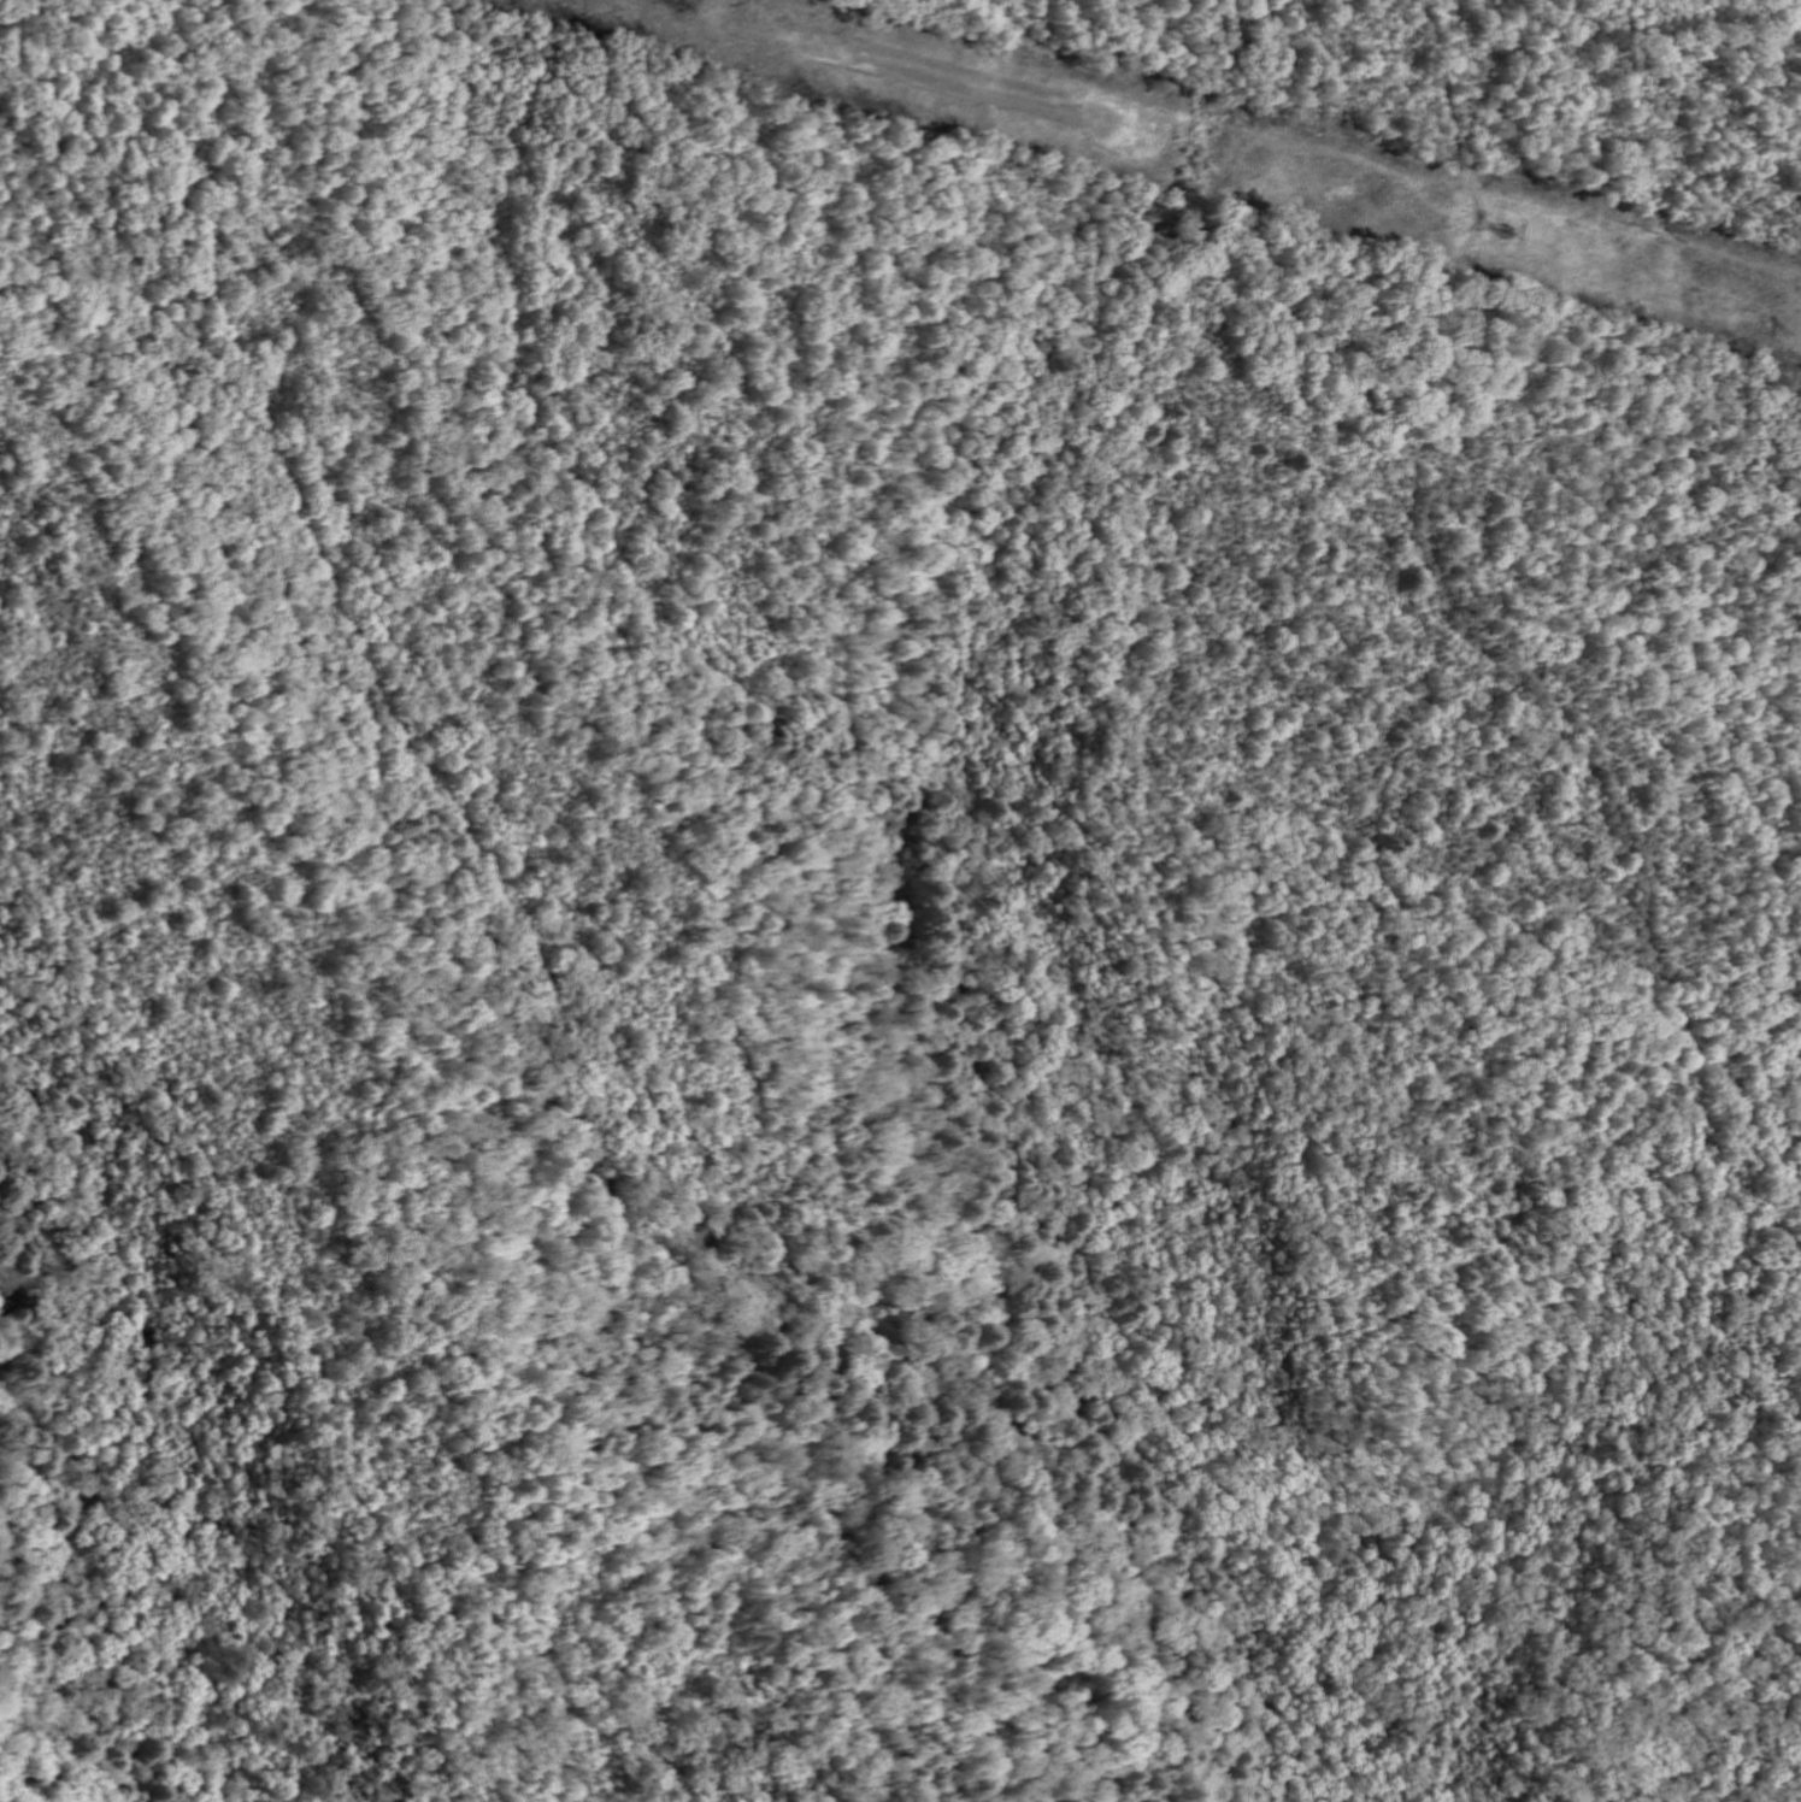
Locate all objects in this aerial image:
road: (1464, 637)

